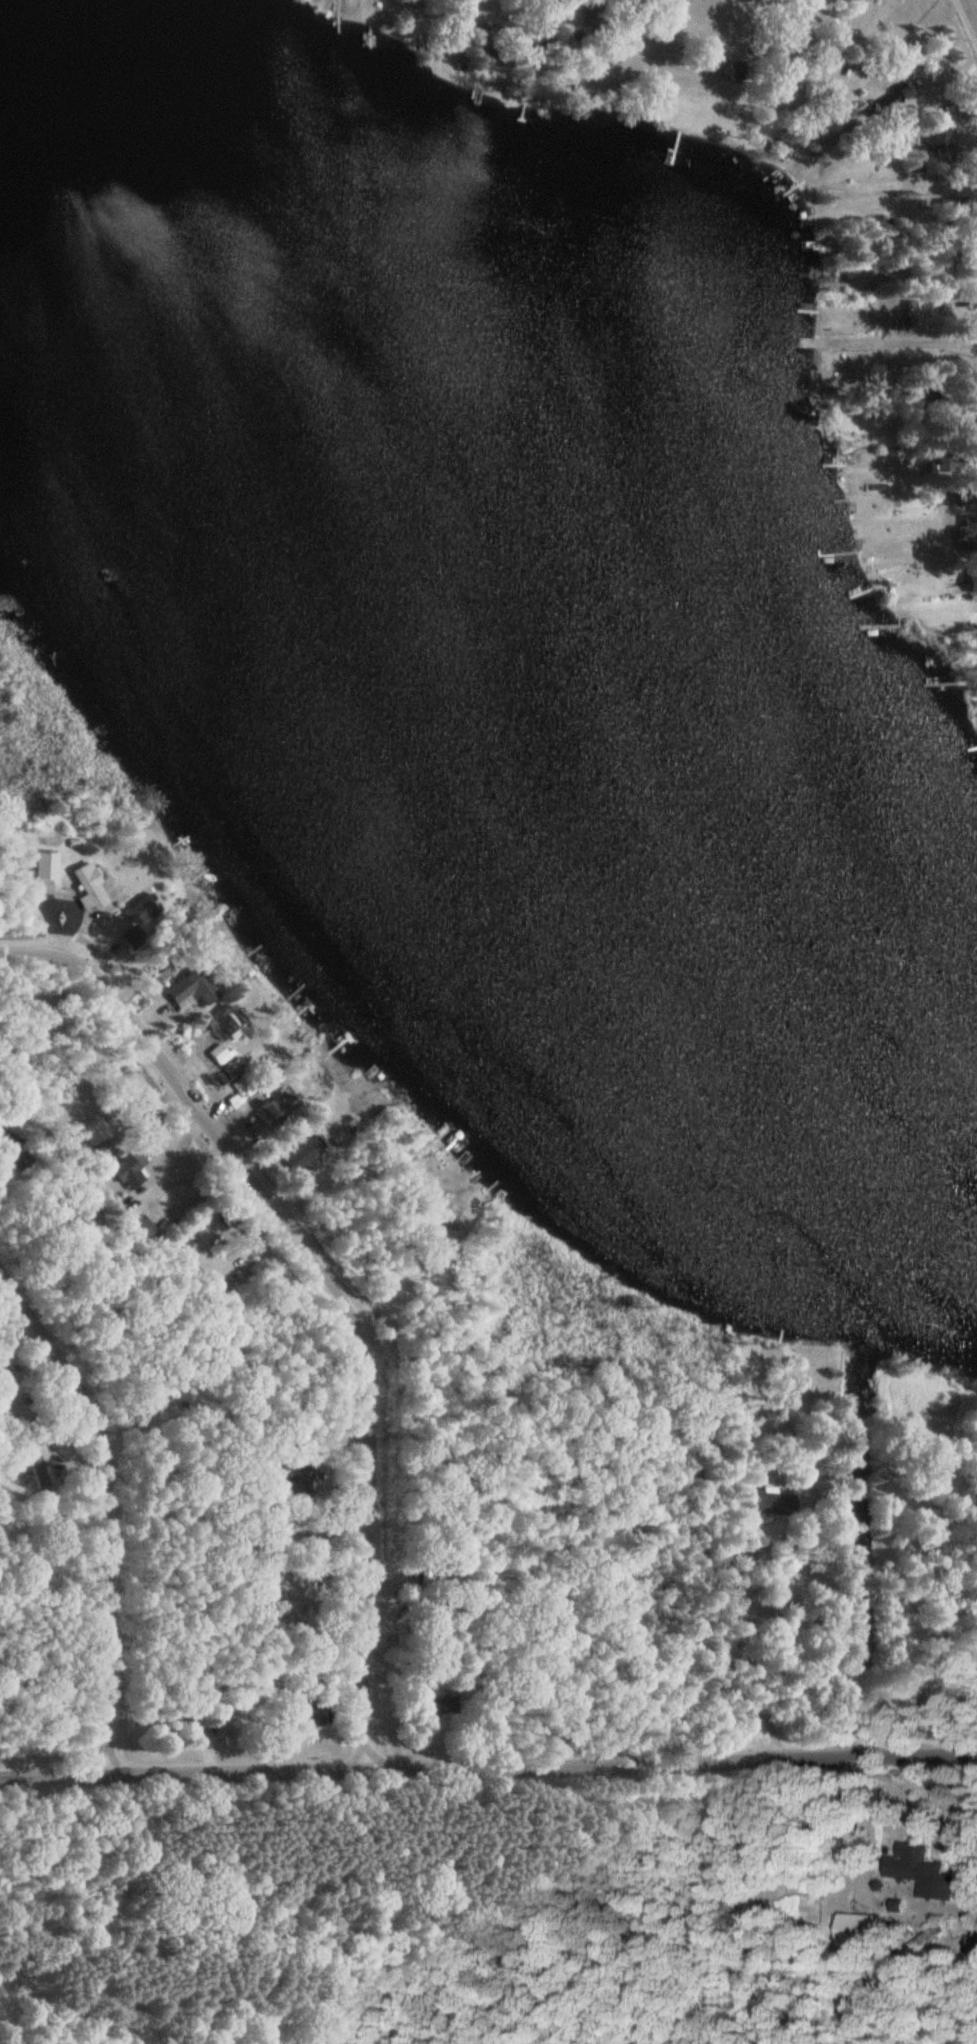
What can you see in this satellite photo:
road: (972, 9)
building: (938, 139)
road: (895, 343)
building: (973, 504)
building: (969, 534)
building: (971, 581)
building: (47, 866)
building: (91, 888)
building: (144, 911)
building: (193, 989)
building: (226, 1024)
building: (219, 1053)
building: (273, 1114)
building: (105, 1149)
building: (305, 1154)
building: (131, 1171)
building: (144, 1227)
road: (337, 1281)
road: (113, 1500)
building: (762, 1508)
building: (423, 1579)
road: (750, 1651)
road: (488, 1764)
road: (870, 1827)
building: (924, 1871)
road: (705, 1903)
building: (863, 1929)

